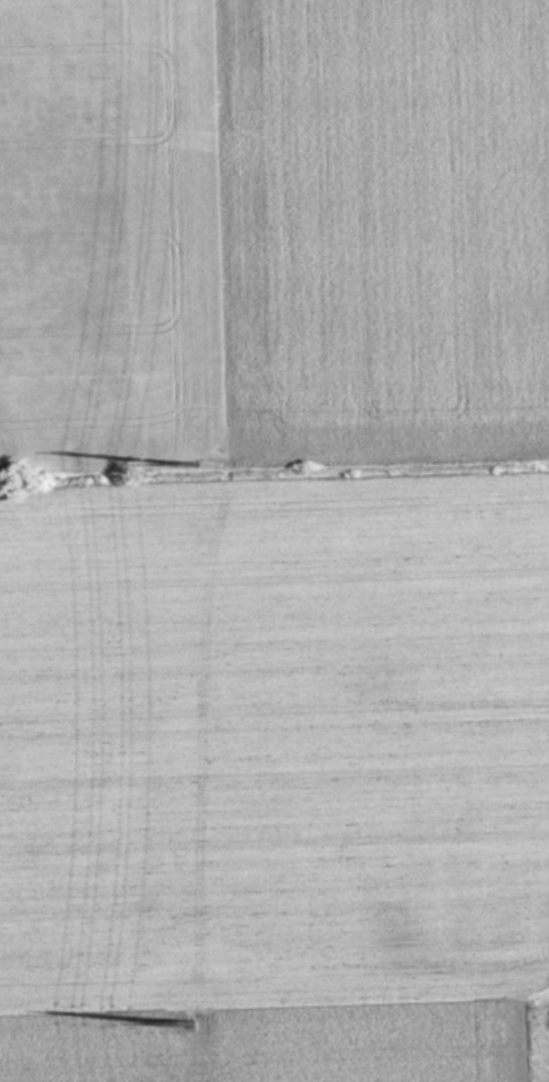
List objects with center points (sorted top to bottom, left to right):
power tower: (200, 463)
power tower: (195, 1019)

